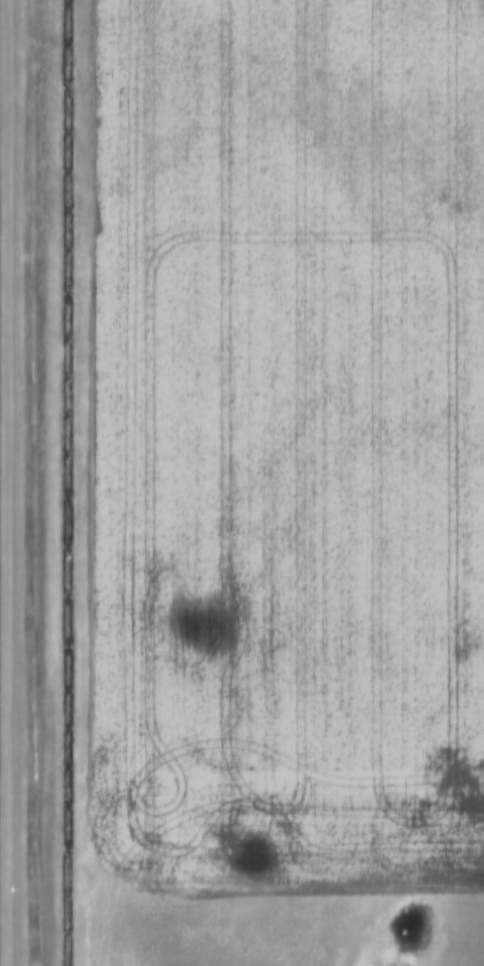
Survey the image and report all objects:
railway: (64, 483)

